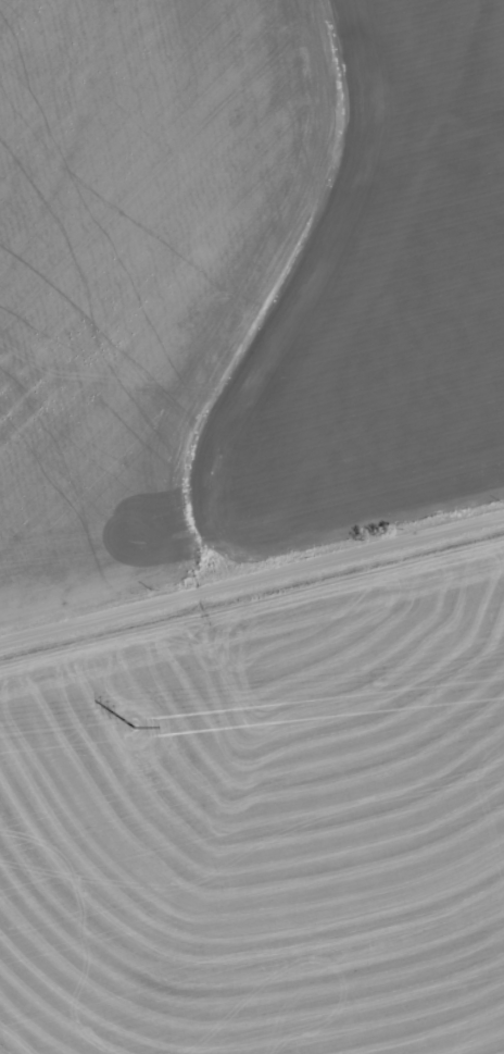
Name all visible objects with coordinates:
road: (252, 607)
power tower: (137, 728)

